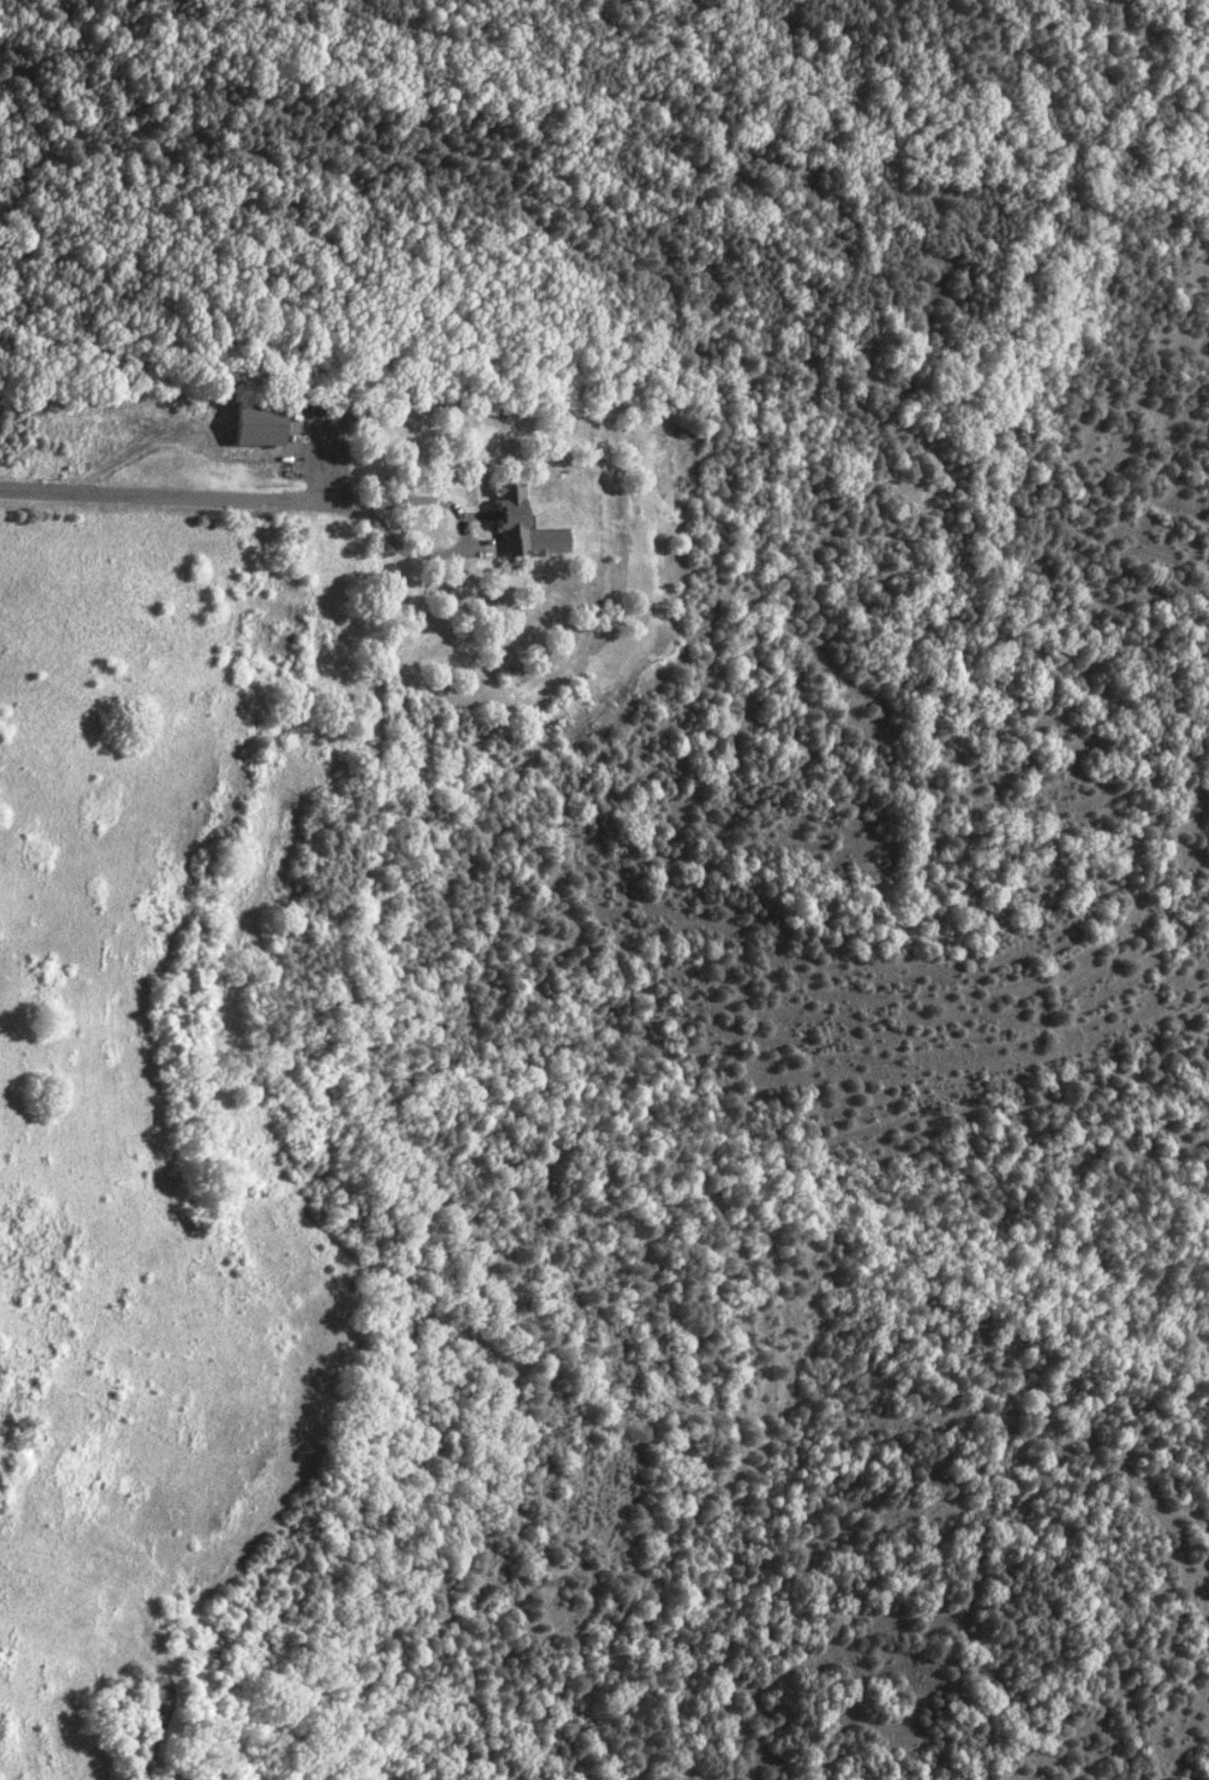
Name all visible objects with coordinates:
building: (258, 425)
road: (181, 503)
building: (525, 527)
road: (457, 539)

